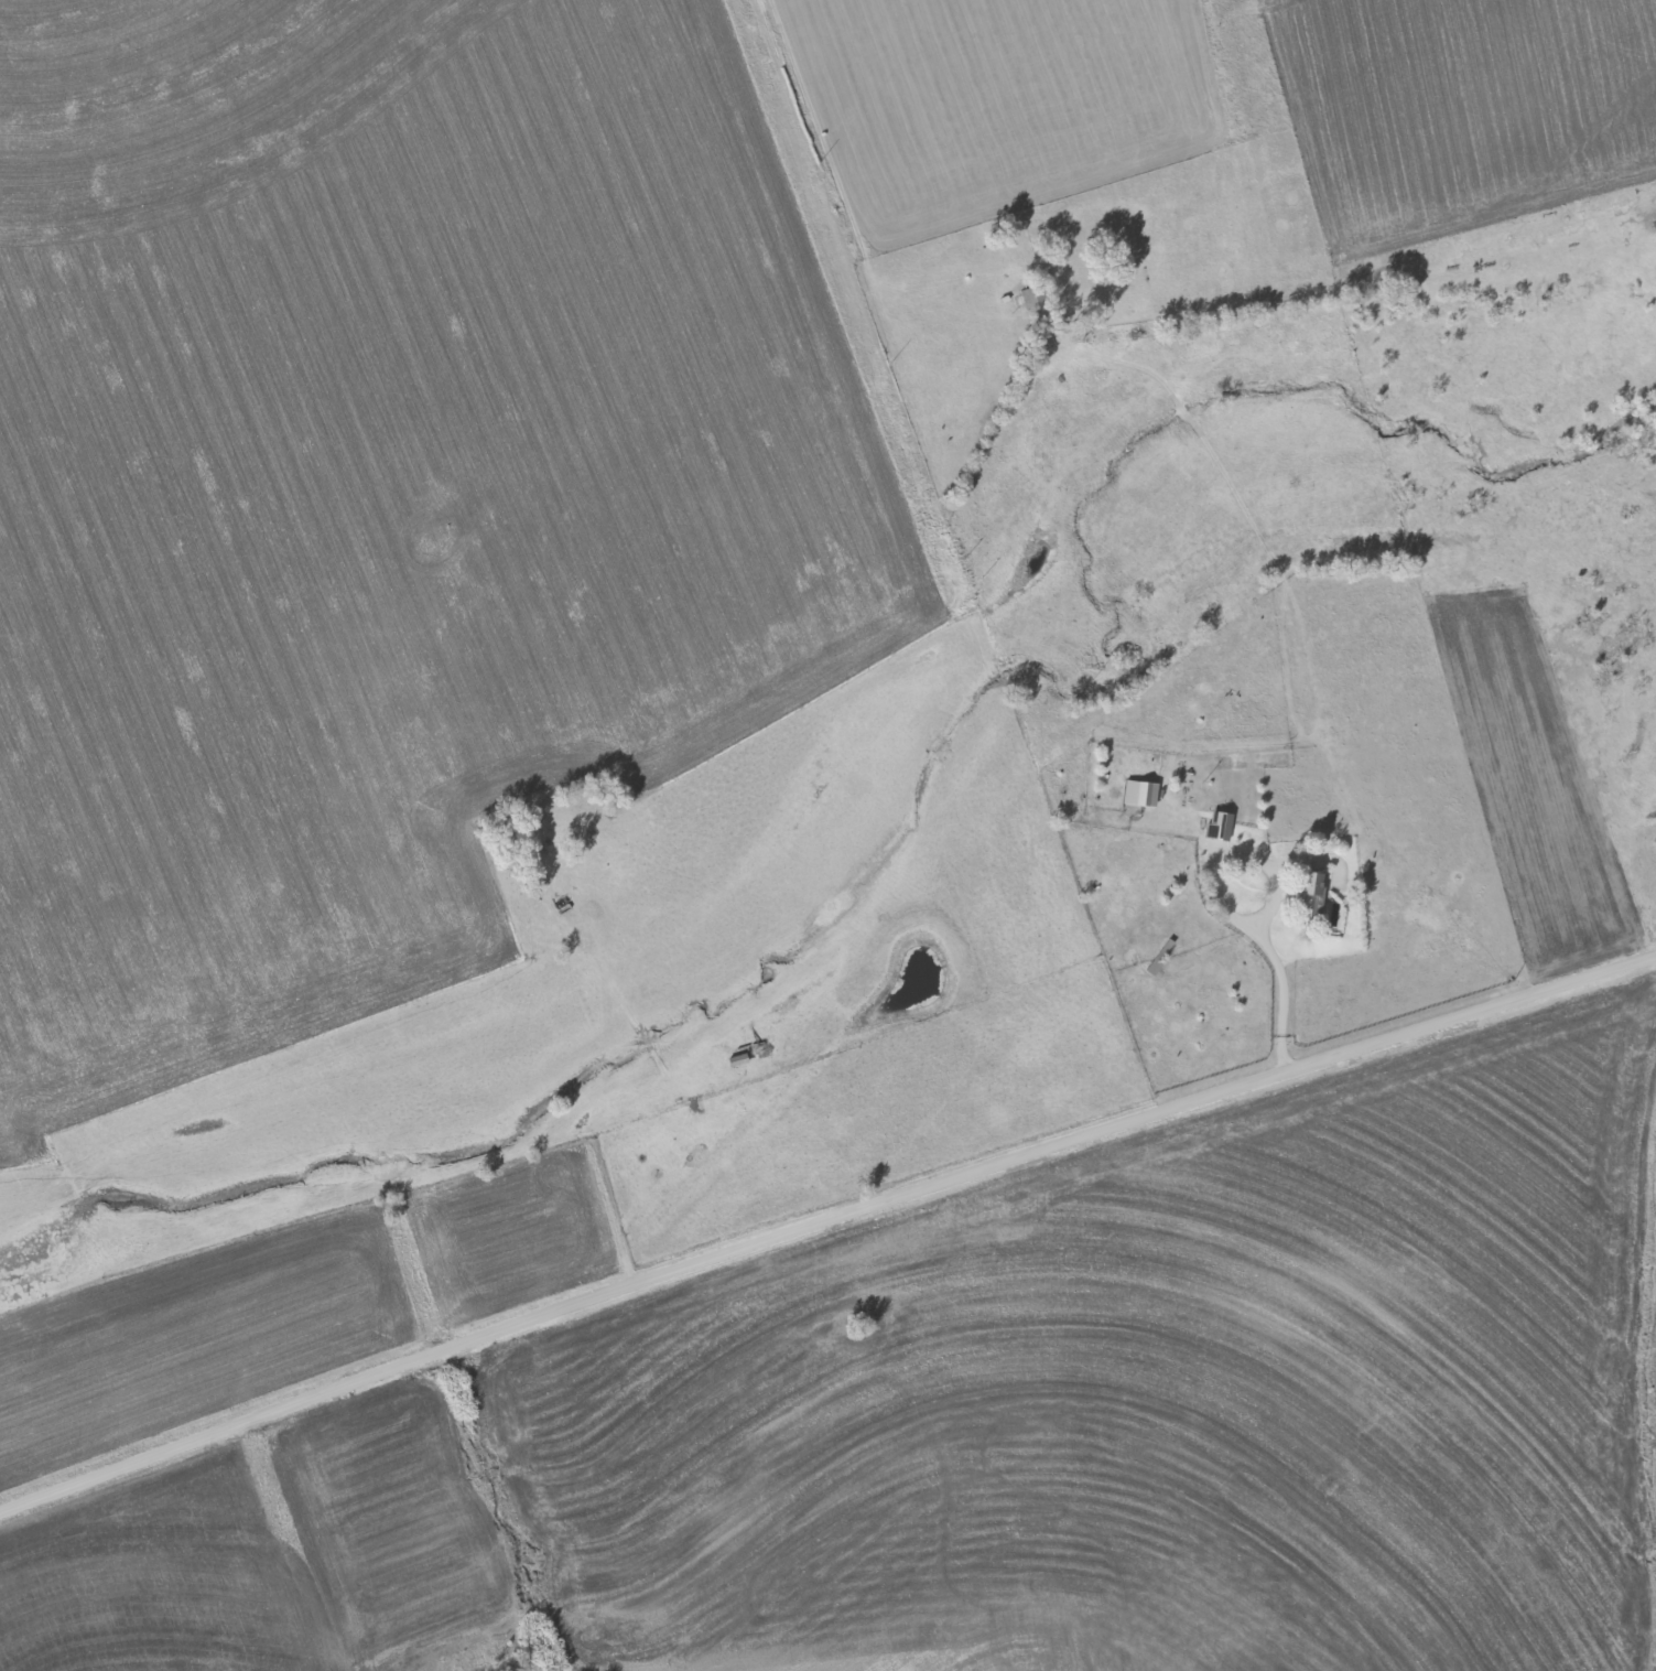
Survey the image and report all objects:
road: (1010, 99)
building: (1139, 794)
building: (1217, 826)
building: (1310, 893)
road: (1280, 979)
road: (822, 1221)

